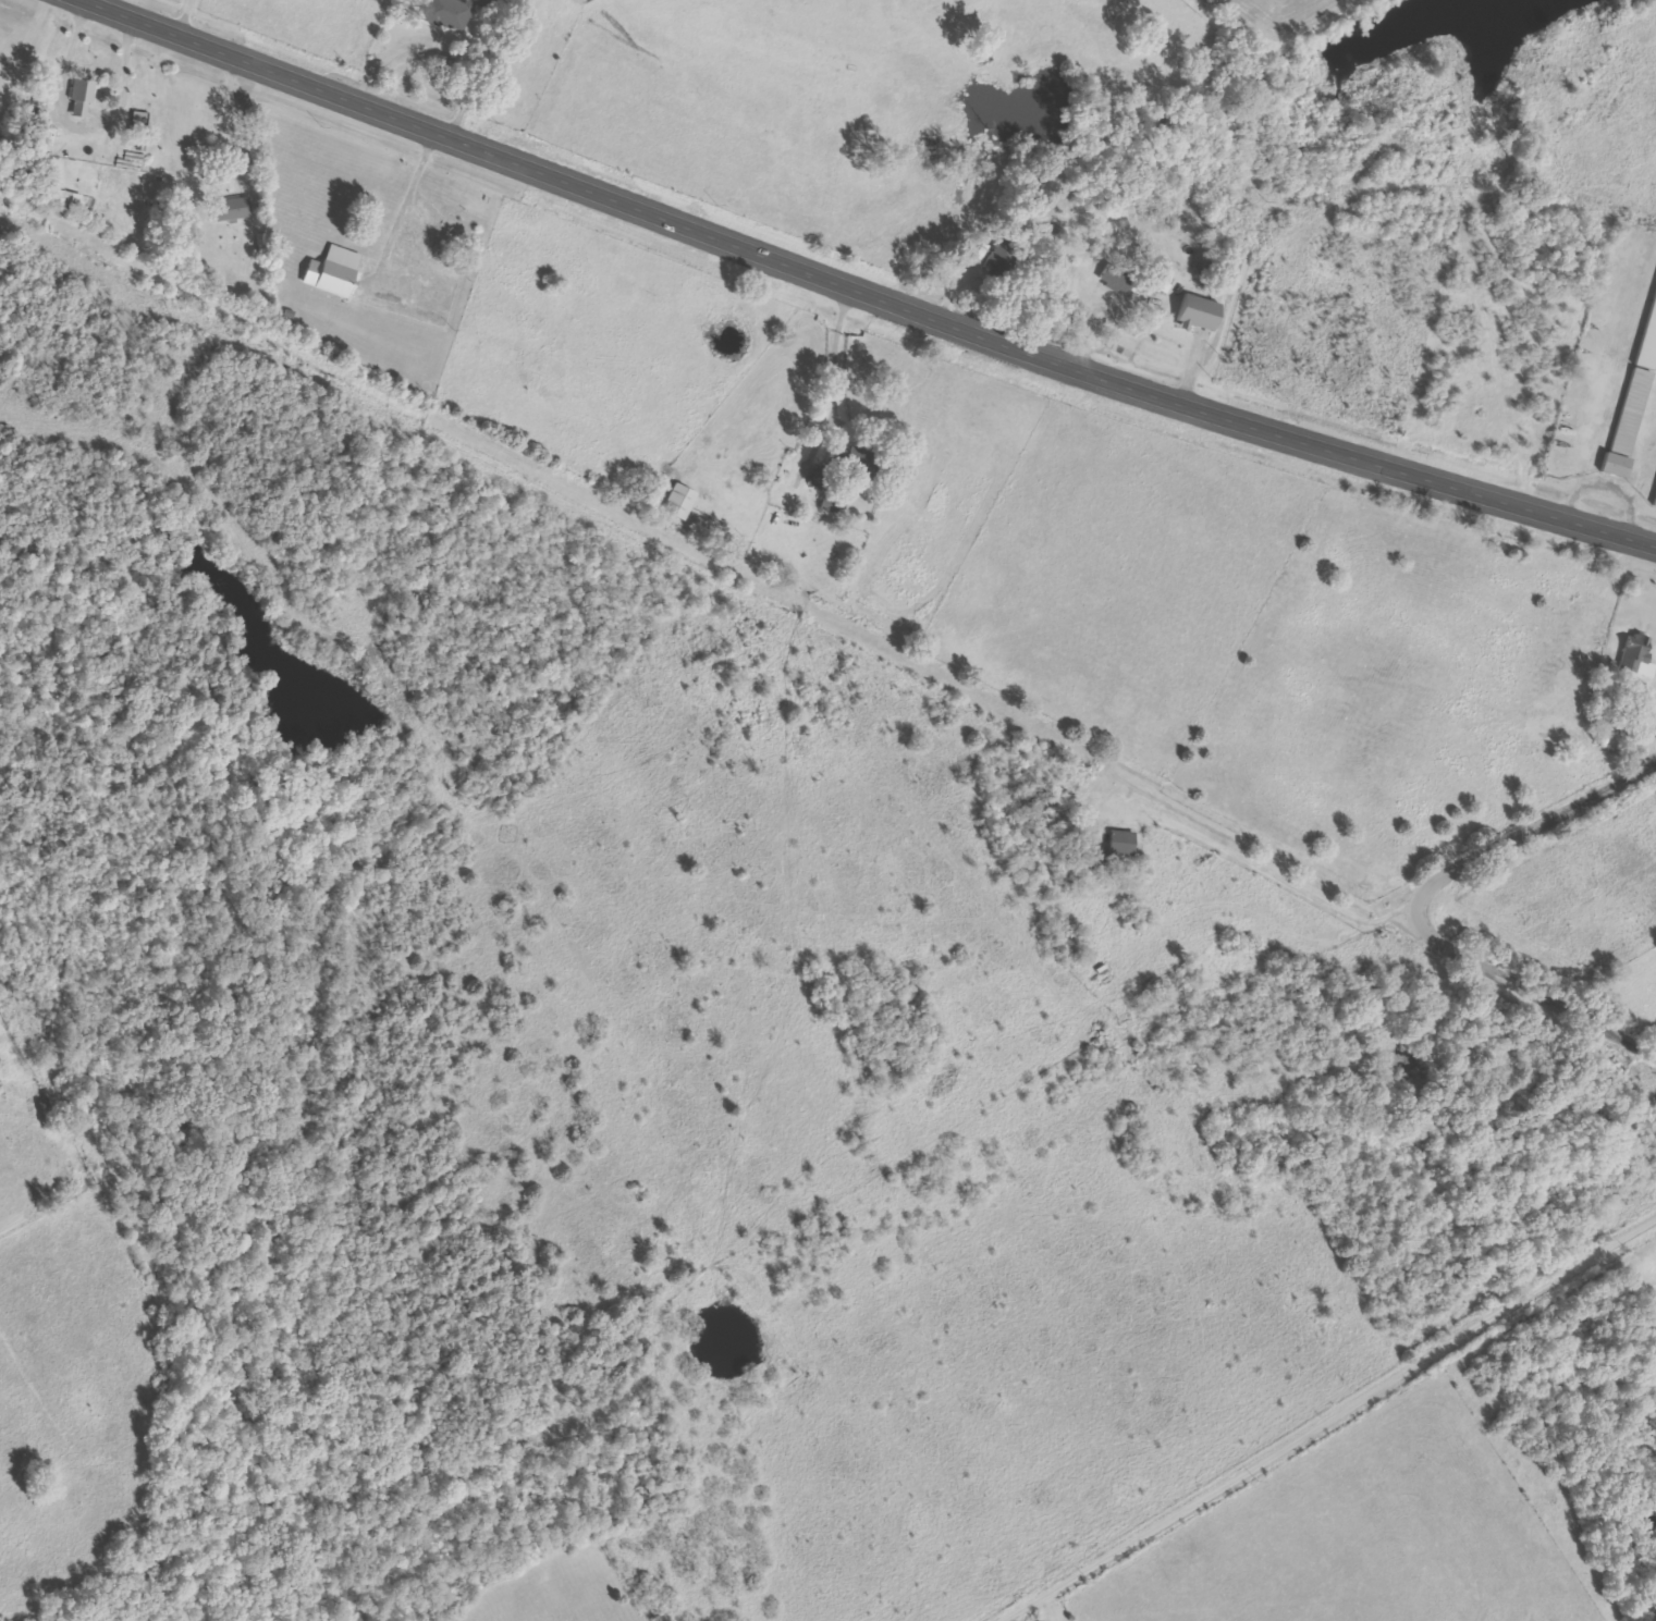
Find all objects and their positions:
building: (451, 12)
building: (82, 96)
building: (142, 122)
building: (70, 200)
building: (230, 209)
building: (978, 250)
building: (1003, 260)
building: (1114, 277)
building: (334, 279)
road: (871, 287)
building: (1198, 312)
building: (1647, 342)
building: (1630, 410)
building: (1615, 466)
building: (844, 467)
building: (679, 502)
building: (1654, 502)
road: (709, 543)
building: (1636, 655)
building: (1034, 802)
road: (1530, 831)
building: (1120, 846)
road: (1529, 987)
road: (1321, 1413)

